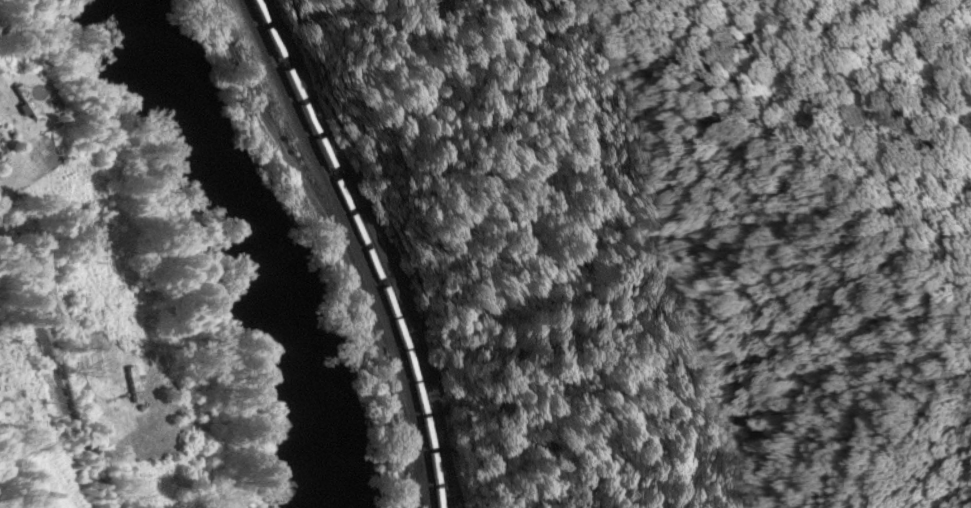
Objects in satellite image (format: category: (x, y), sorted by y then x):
building: (25, 104)
building: (1, 152)
river: (243, 245)
railway: (373, 246)
railway: (354, 247)
railway: (363, 247)
road: (331, 248)
building: (106, 319)
road: (48, 368)
building: (131, 386)

